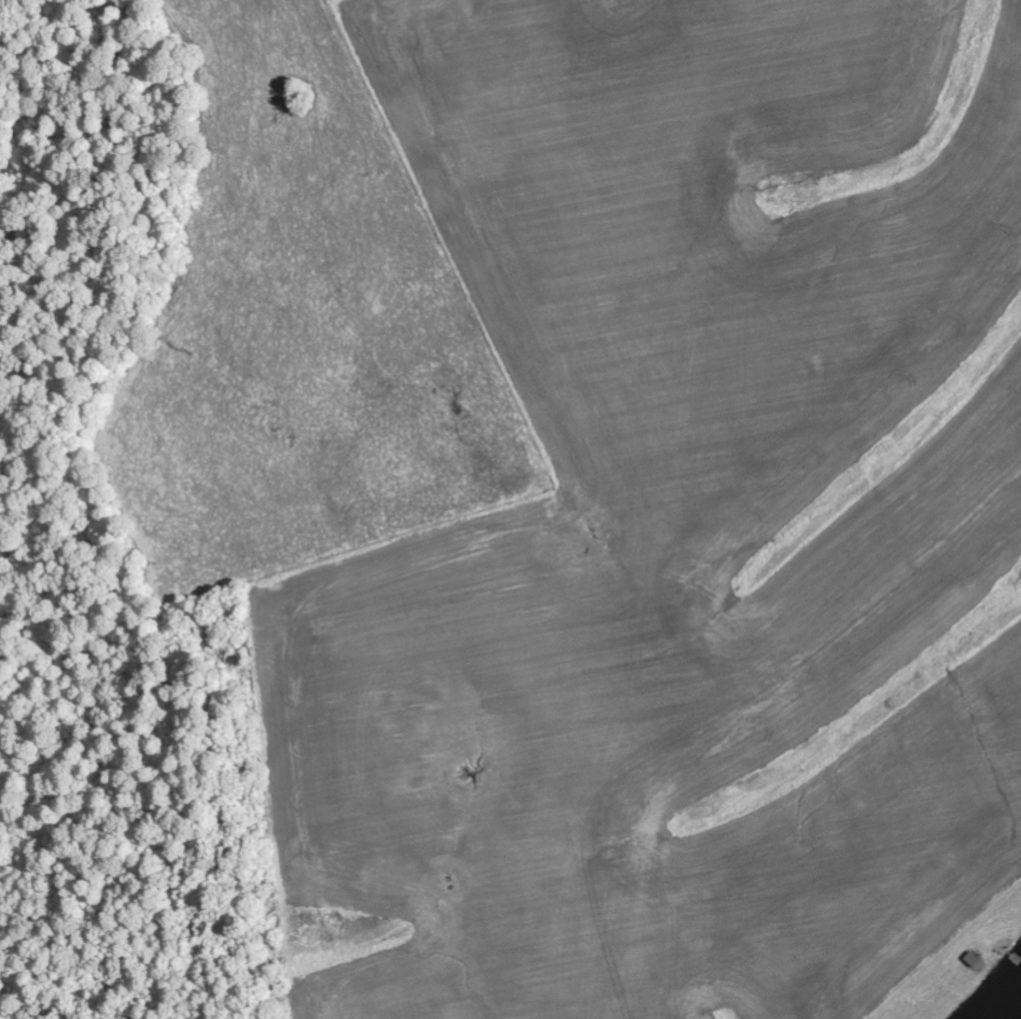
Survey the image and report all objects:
building: (971, 960)

